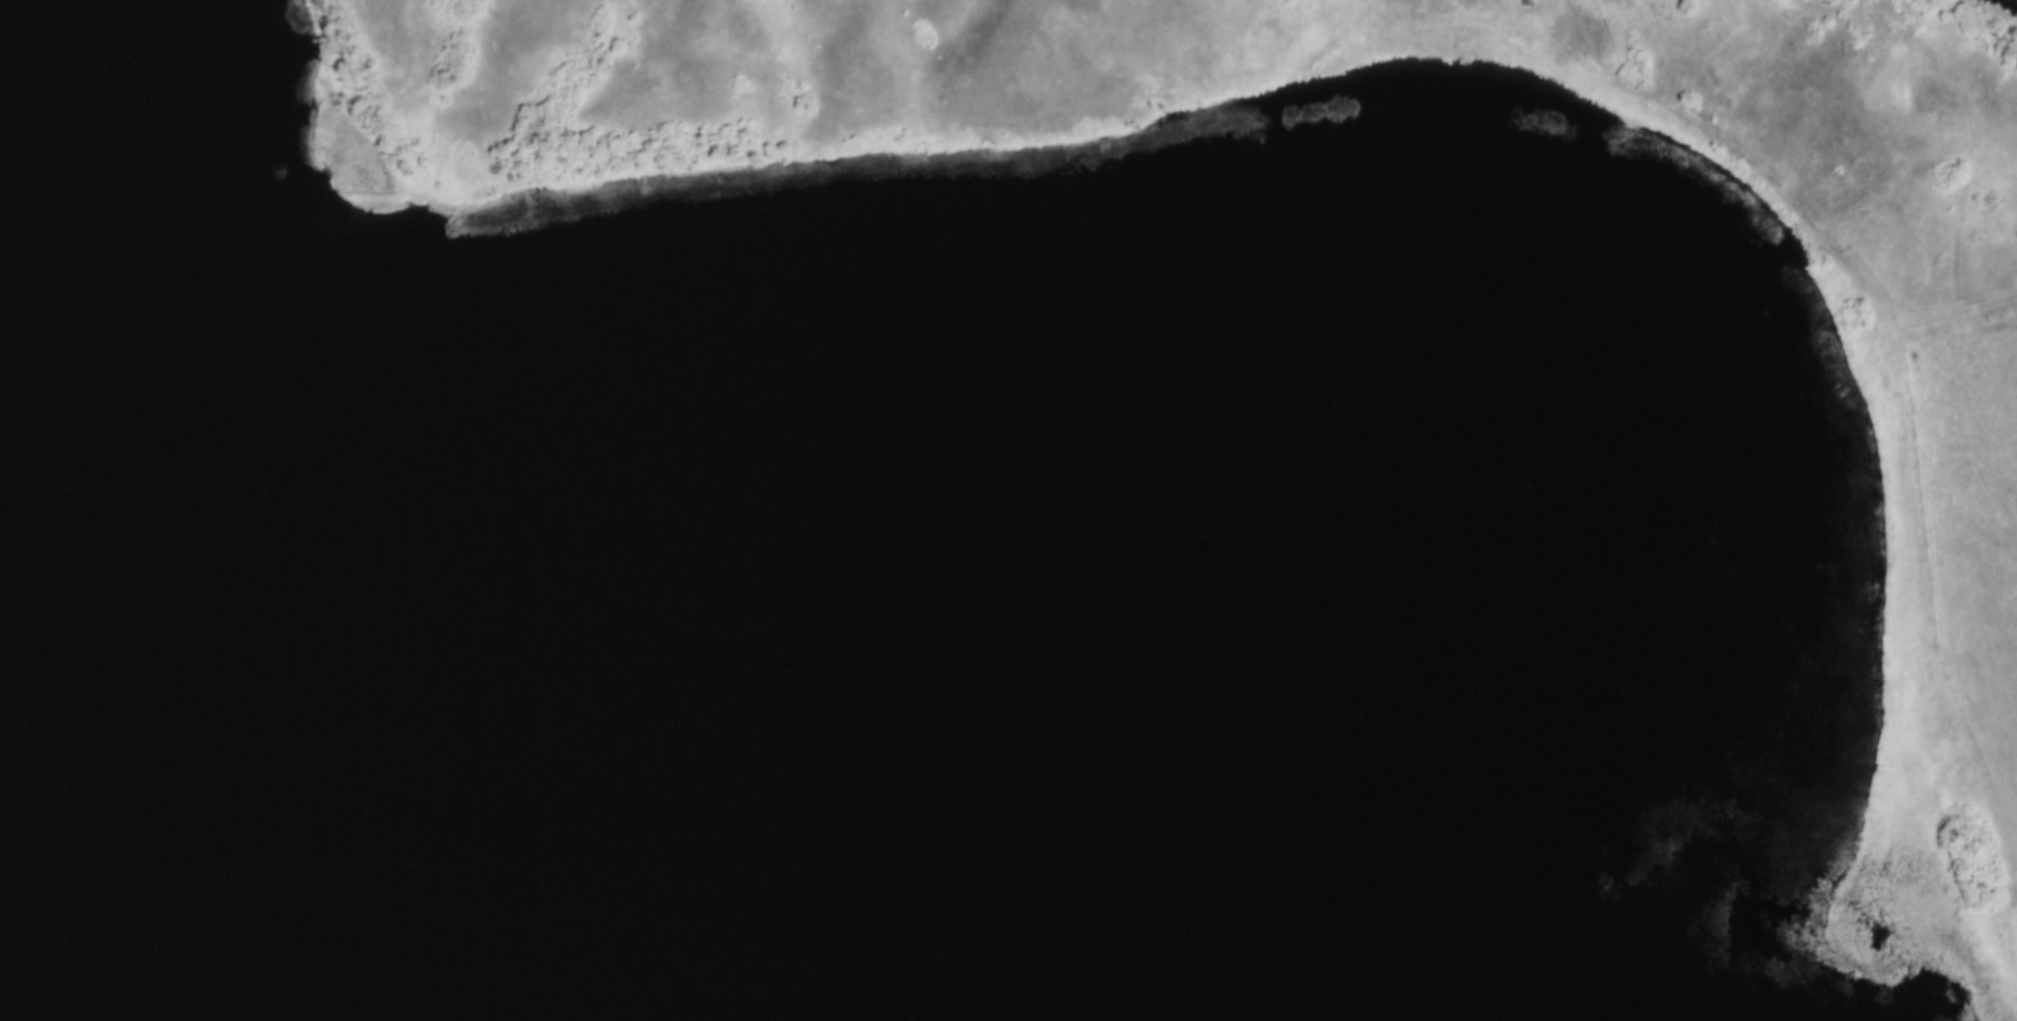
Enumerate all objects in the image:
road: (1860, 164)
road: (1923, 617)

